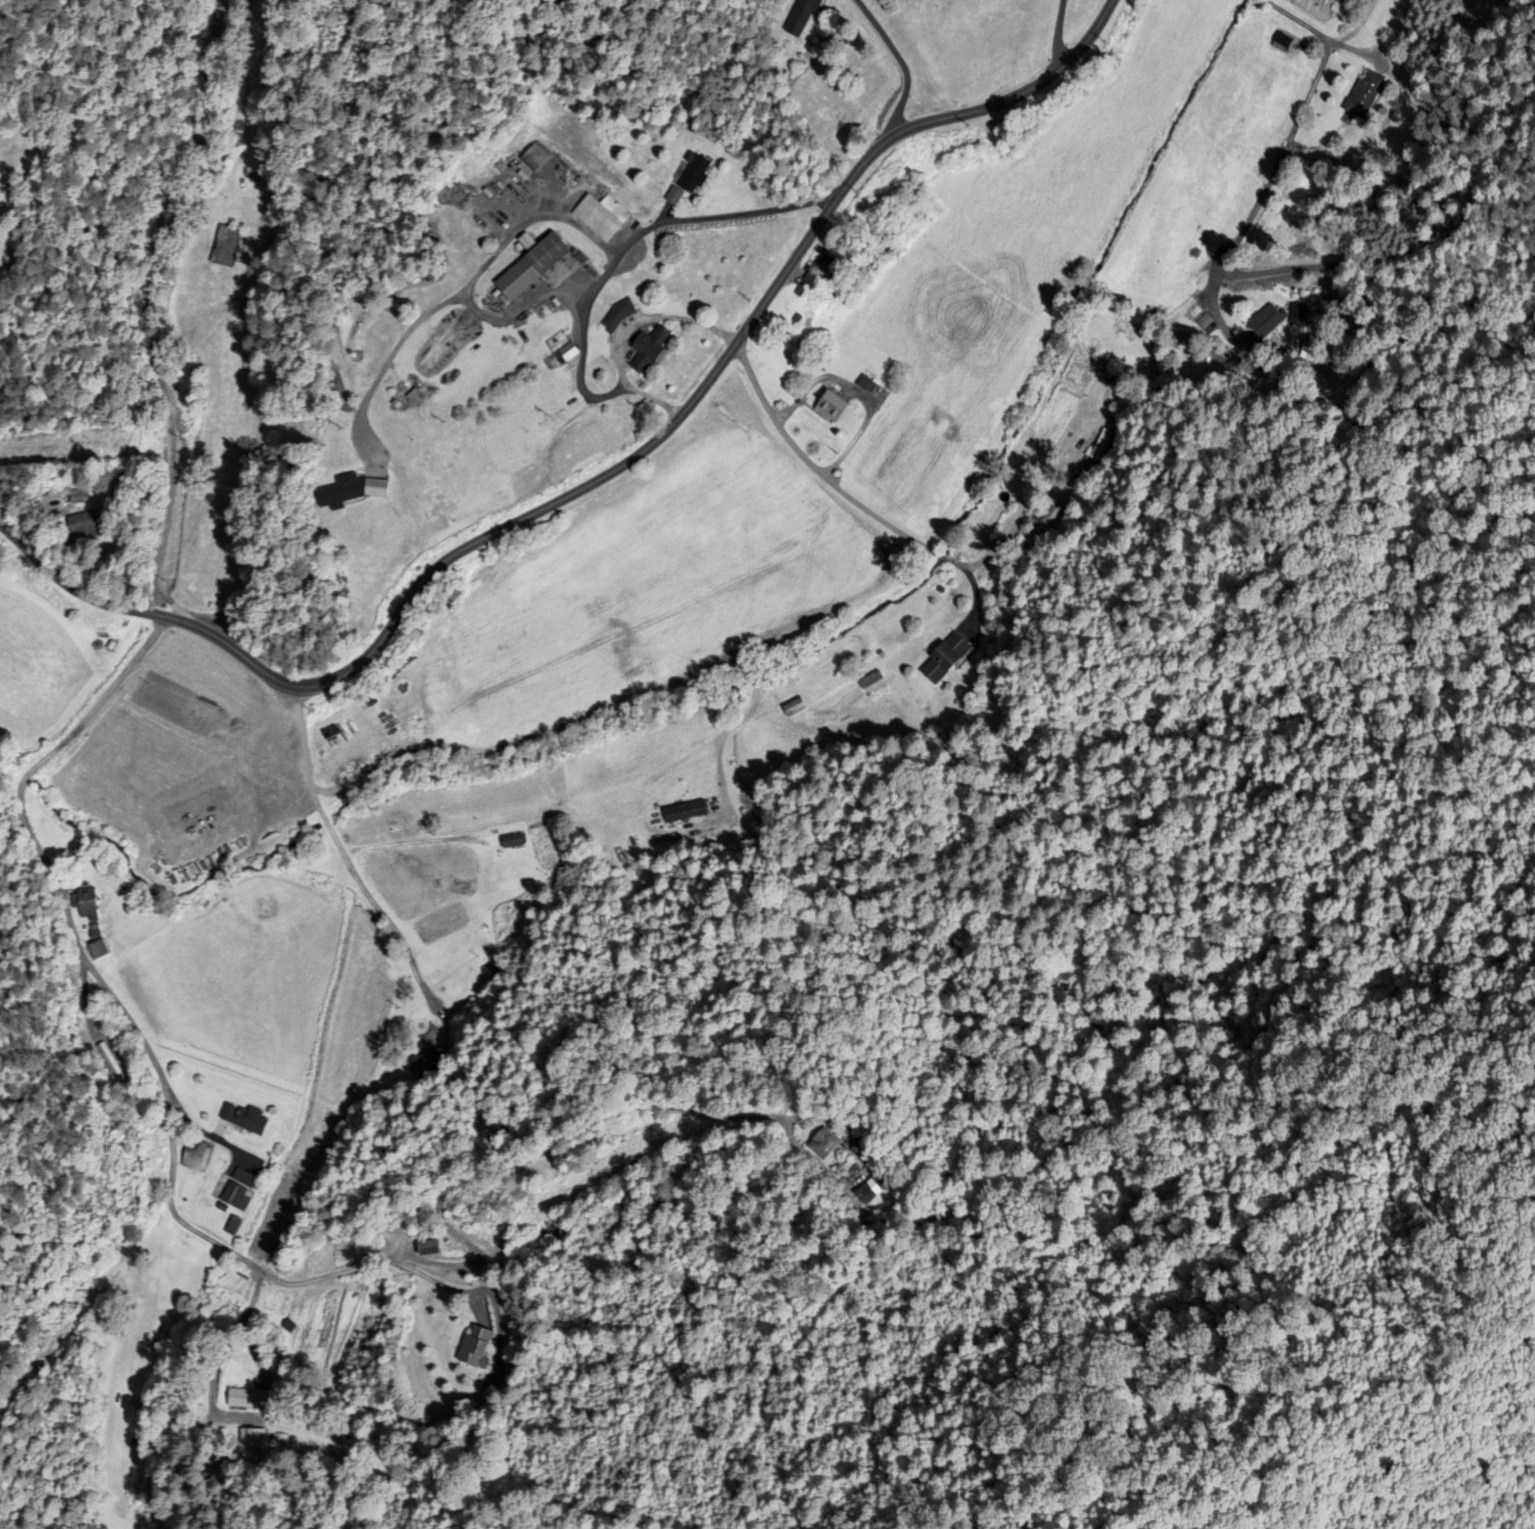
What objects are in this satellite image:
building: (800, 19)
road: (1357, 29)
road: (1057, 33)
road: (1324, 63)
road: (904, 64)
building: (1365, 95)
building: (692, 173)
building: (1325, 189)
building: (673, 196)
building: (600, 216)
road: (530, 220)
road: (632, 240)
road: (1235, 244)
building: (227, 247)
building: (829, 264)
building: (529, 268)
building: (806, 285)
road: (152, 304)
road: (520, 309)
building: (617, 316)
building: (1264, 321)
road: (622, 329)
building: (789, 344)
building: (648, 349)
building: (1309, 349)
building: (568, 352)
road: (388, 357)
building: (867, 385)
building: (831, 407)
building: (1100, 446)
road: (818, 474)
road: (601, 478)
building: (349, 492)
building: (69, 493)
road: (1021, 510)
building: (82, 524)
building: (1044, 525)
building: (944, 658)
building: (794, 708)
road: (605, 711)
building: (511, 842)
road: (349, 855)
building: (84, 905)
building: (97, 950)
road: (115, 1004)
building: (465, 1019)
building: (428, 1061)
building: (109, 1063)
building: (244, 1120)
road: (200, 1129)
building: (822, 1145)
road: (535, 1155)
building: (194, 1161)
building: (241, 1177)
building: (871, 1191)
building: (235, 1197)
building: (555, 1224)
building: (427, 1249)
road: (436, 1282)
road: (233, 1330)
building: (474, 1348)
building: (250, 1399)

